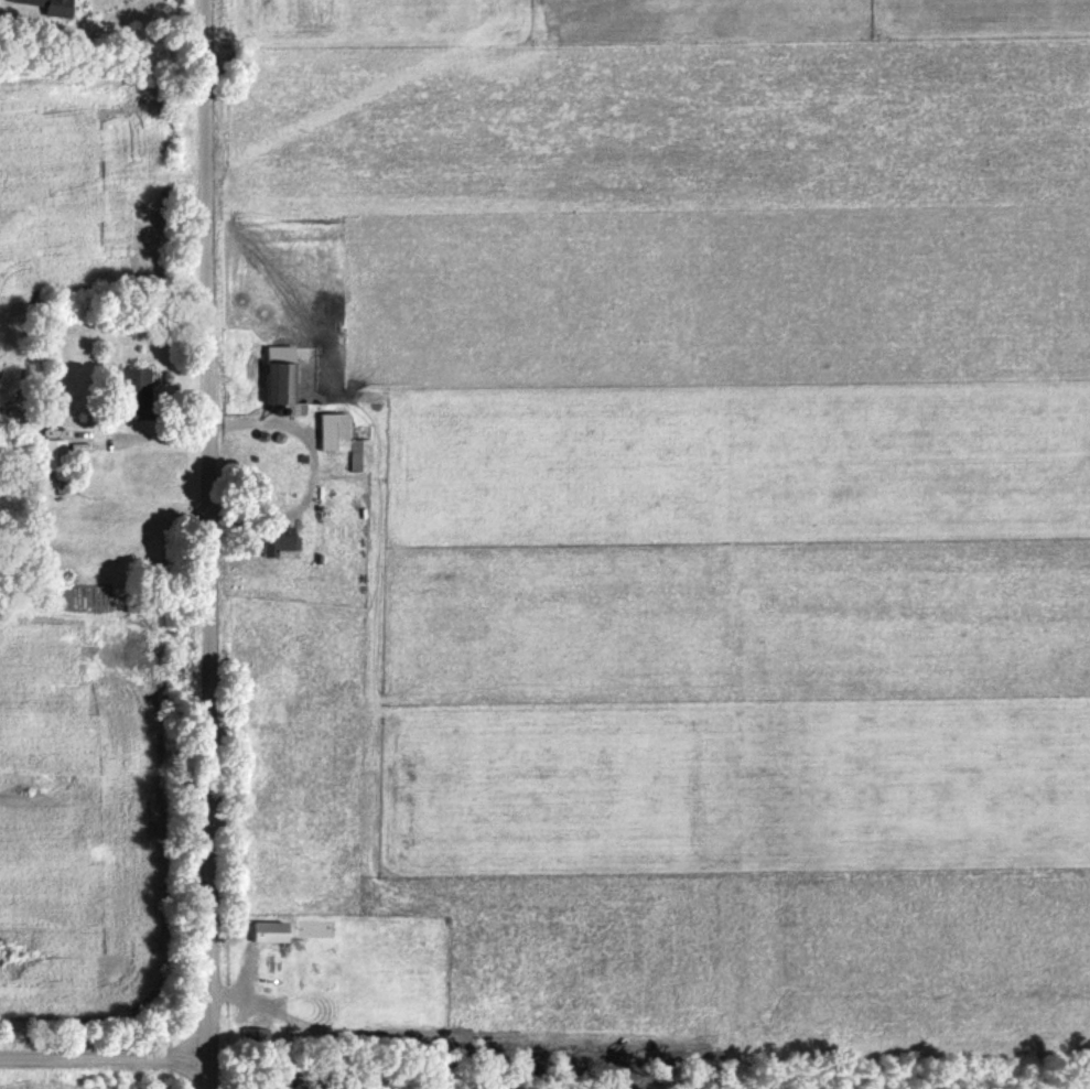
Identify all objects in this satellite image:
building: (44, 7)
building: (273, 384)
building: (128, 385)
building: (339, 441)
building: (43, 453)
road: (205, 543)
building: (258, 547)
building: (257, 932)
building: (249, 1035)
road: (102, 1056)

